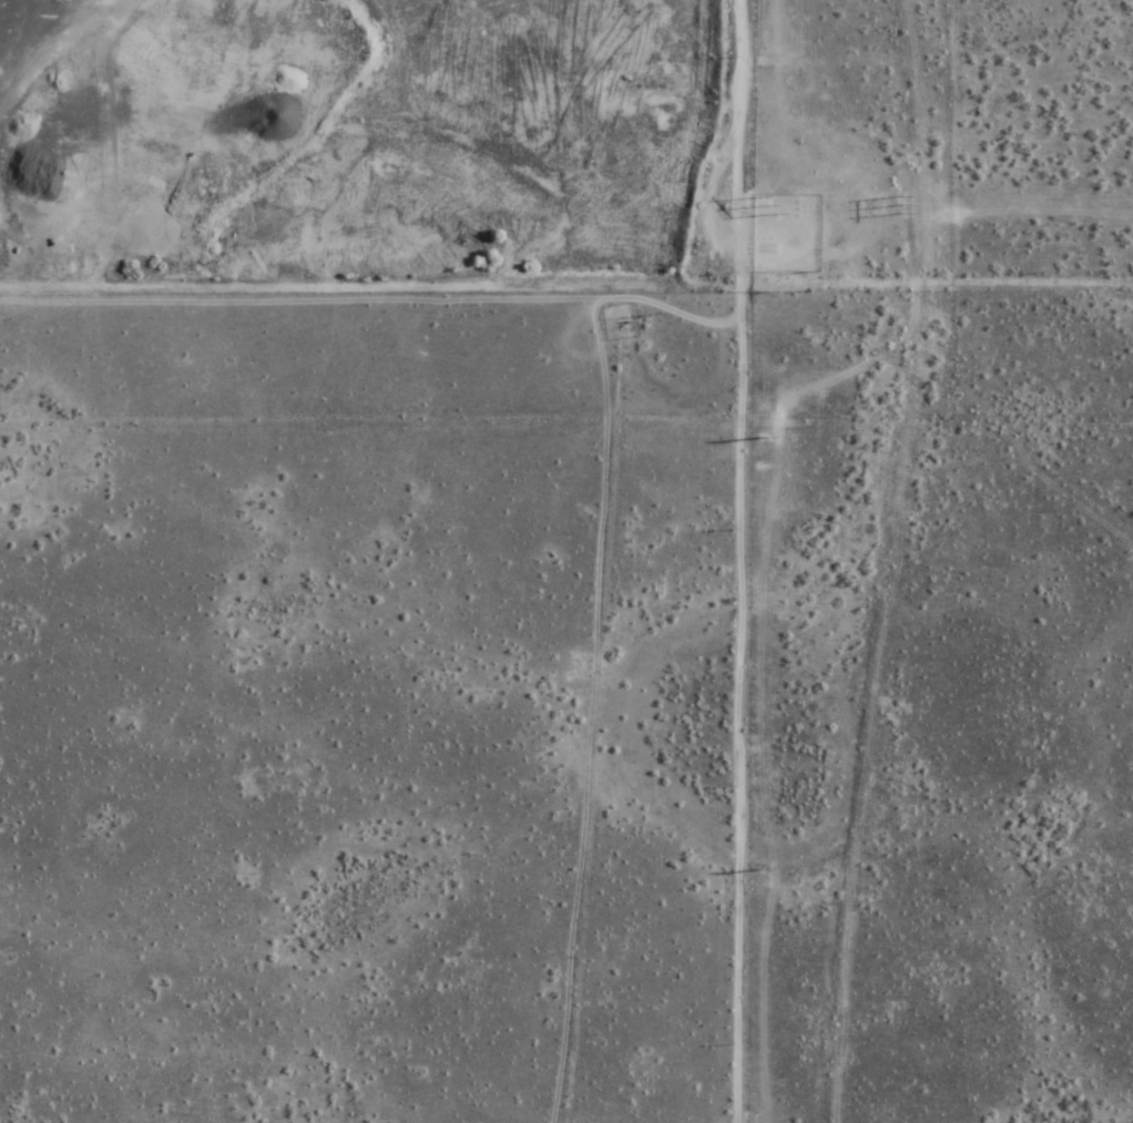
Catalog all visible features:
power tower: (765, 61)
power tower: (871, 207)
power tower: (906, 207)
power tower: (765, 226)
power substation: (785, 233)
power tower: (759, 466)
power tower: (756, 869)

